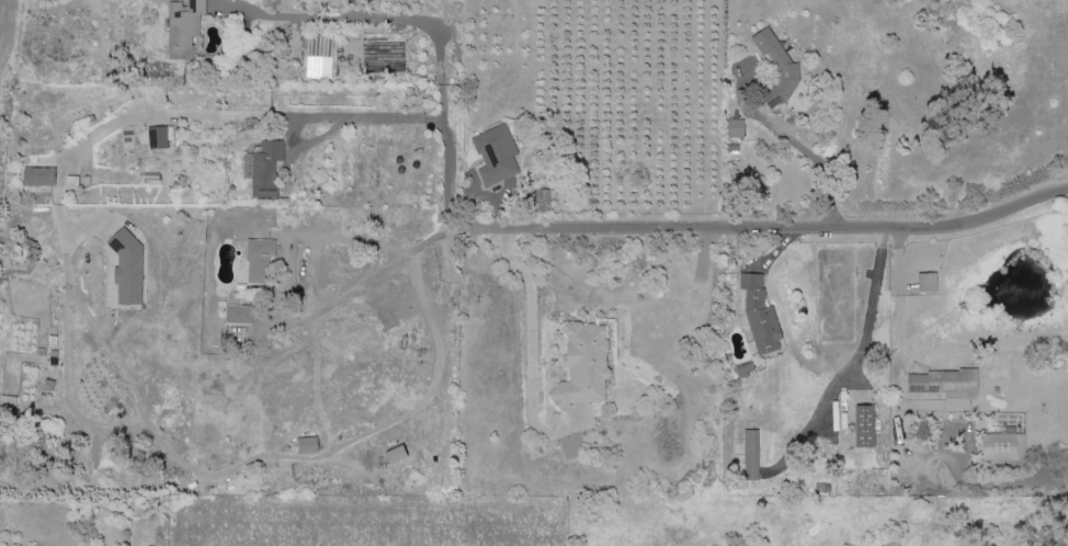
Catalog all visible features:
road: (380, 18)
building: (183, 29)
building: (777, 68)
road: (175, 115)
road: (355, 121)
building: (736, 129)
building: (157, 138)
building: (127, 143)
road: (814, 151)
building: (496, 156)
building: (265, 169)
road: (447, 171)
building: (38, 177)
building: (542, 196)
road: (770, 225)
building: (259, 261)
building: (127, 268)
road: (371, 277)
building: (928, 283)
road: (873, 302)
building: (239, 315)
building: (759, 317)
road: (530, 338)
building: (583, 366)
building: (865, 428)
road: (957, 431)
building: (308, 445)
building: (1003, 447)
building: (397, 455)
building: (751, 456)
road: (1005, 485)

